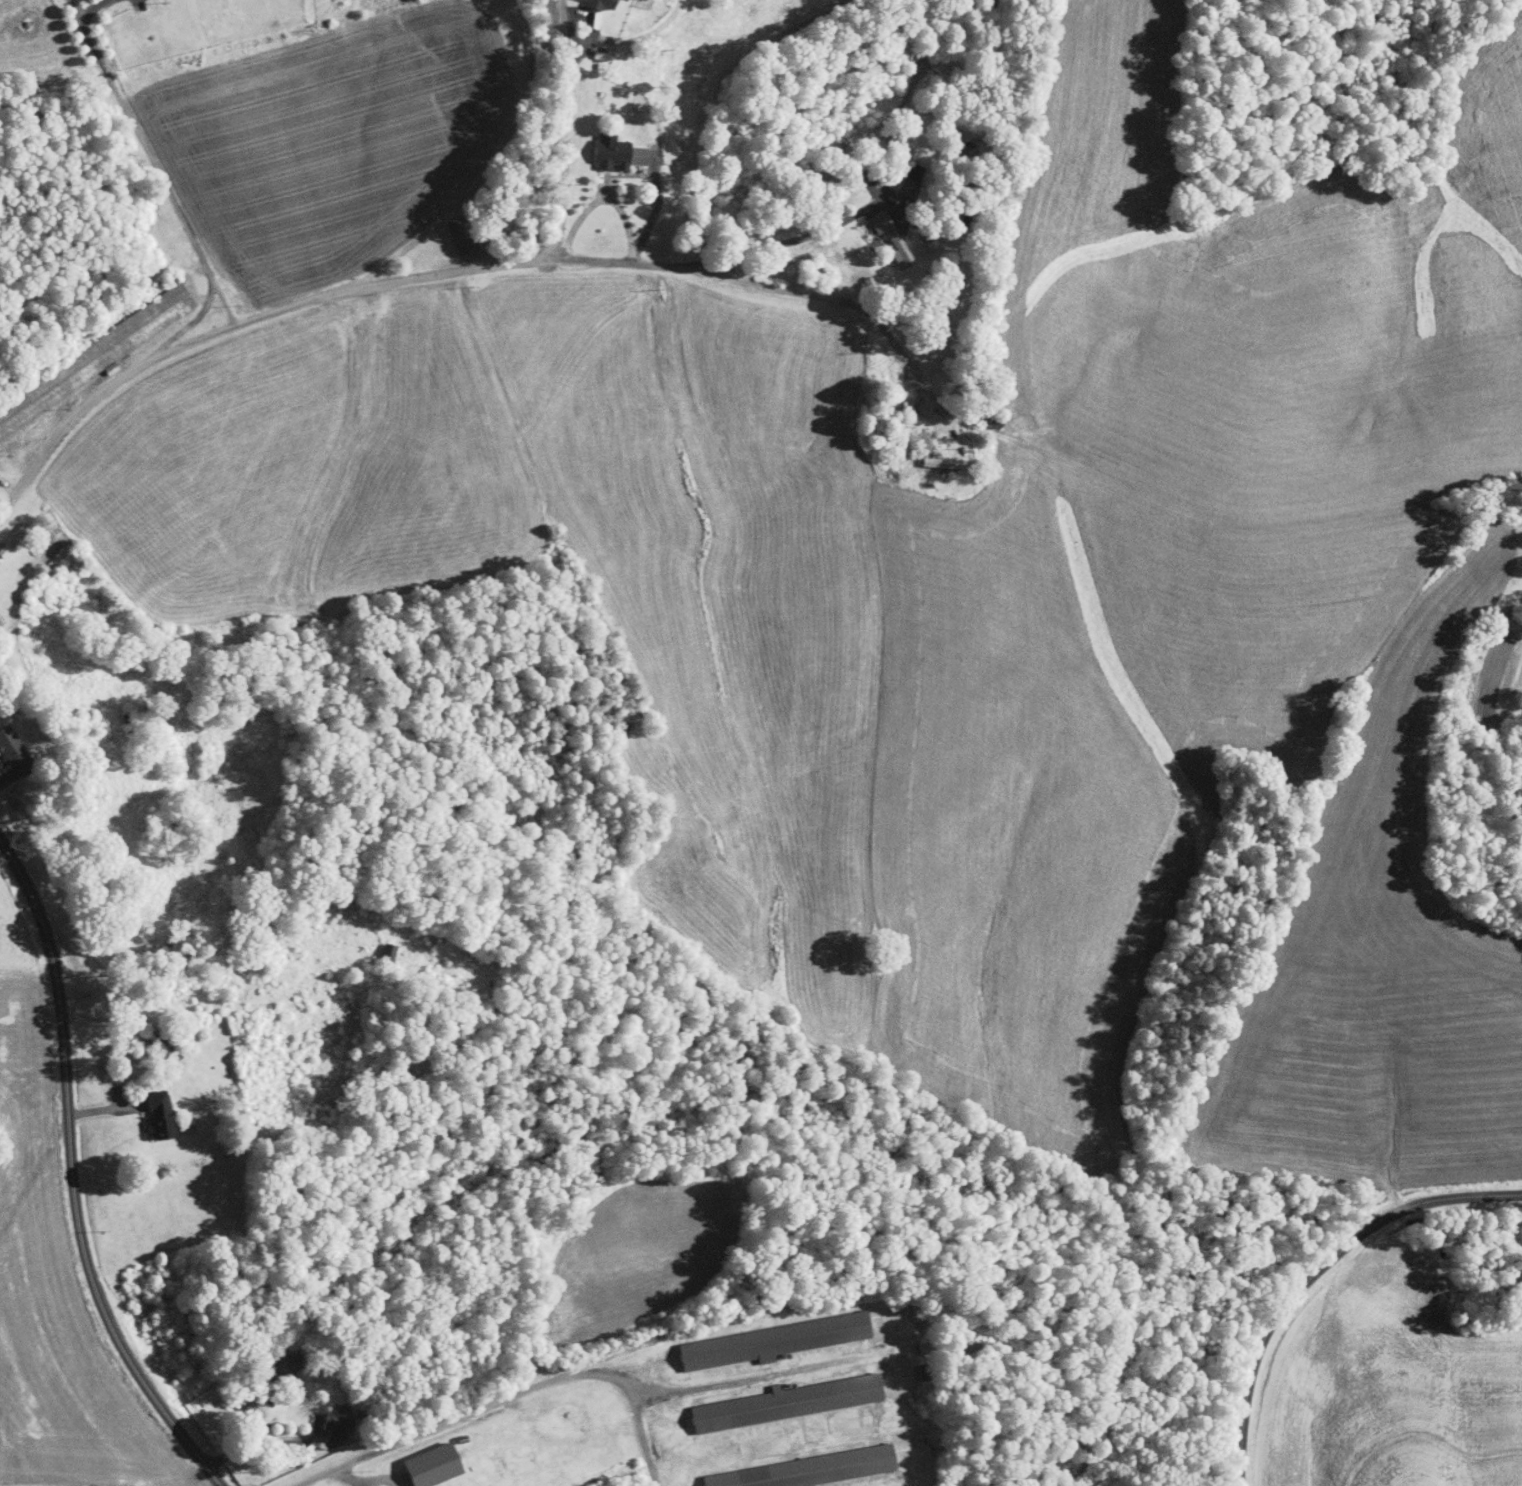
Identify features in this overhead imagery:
building: (594, 1)
road: (561, 129)
building: (604, 149)
road: (150, 157)
road: (492, 160)
building: (894, 176)
building: (446, 230)
building: (877, 231)
road: (798, 238)
road: (732, 278)
road: (184, 326)
building: (113, 330)
building: (929, 458)
building: (7, 752)
building: (373, 947)
building: (145, 1110)
road: (72, 1179)
road: (1309, 1269)
building: (757, 1335)
building: (265, 1363)
road: (511, 1393)
building: (774, 1396)
building: (323, 1415)
building: (305, 1435)
building: (418, 1460)
building: (787, 1466)

